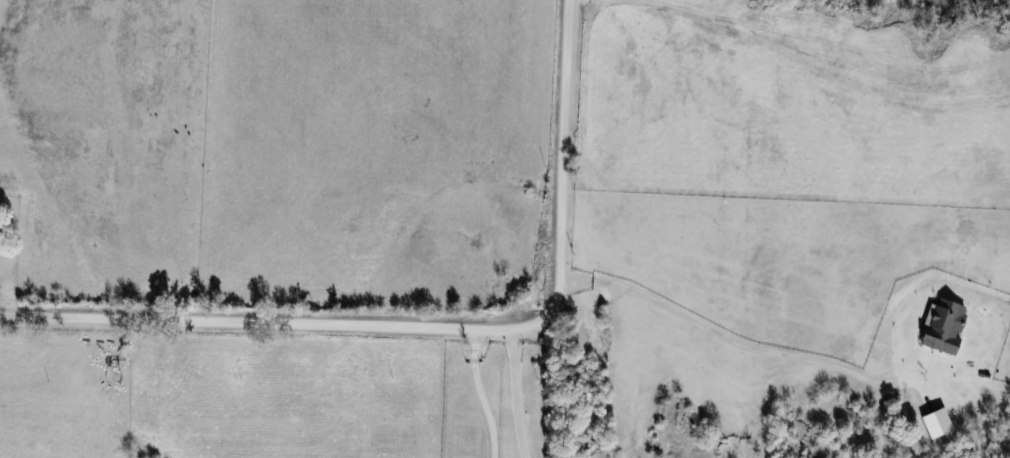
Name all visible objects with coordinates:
building: (0, 234)
road: (703, 322)
road: (435, 329)
road: (516, 394)
road: (484, 395)

